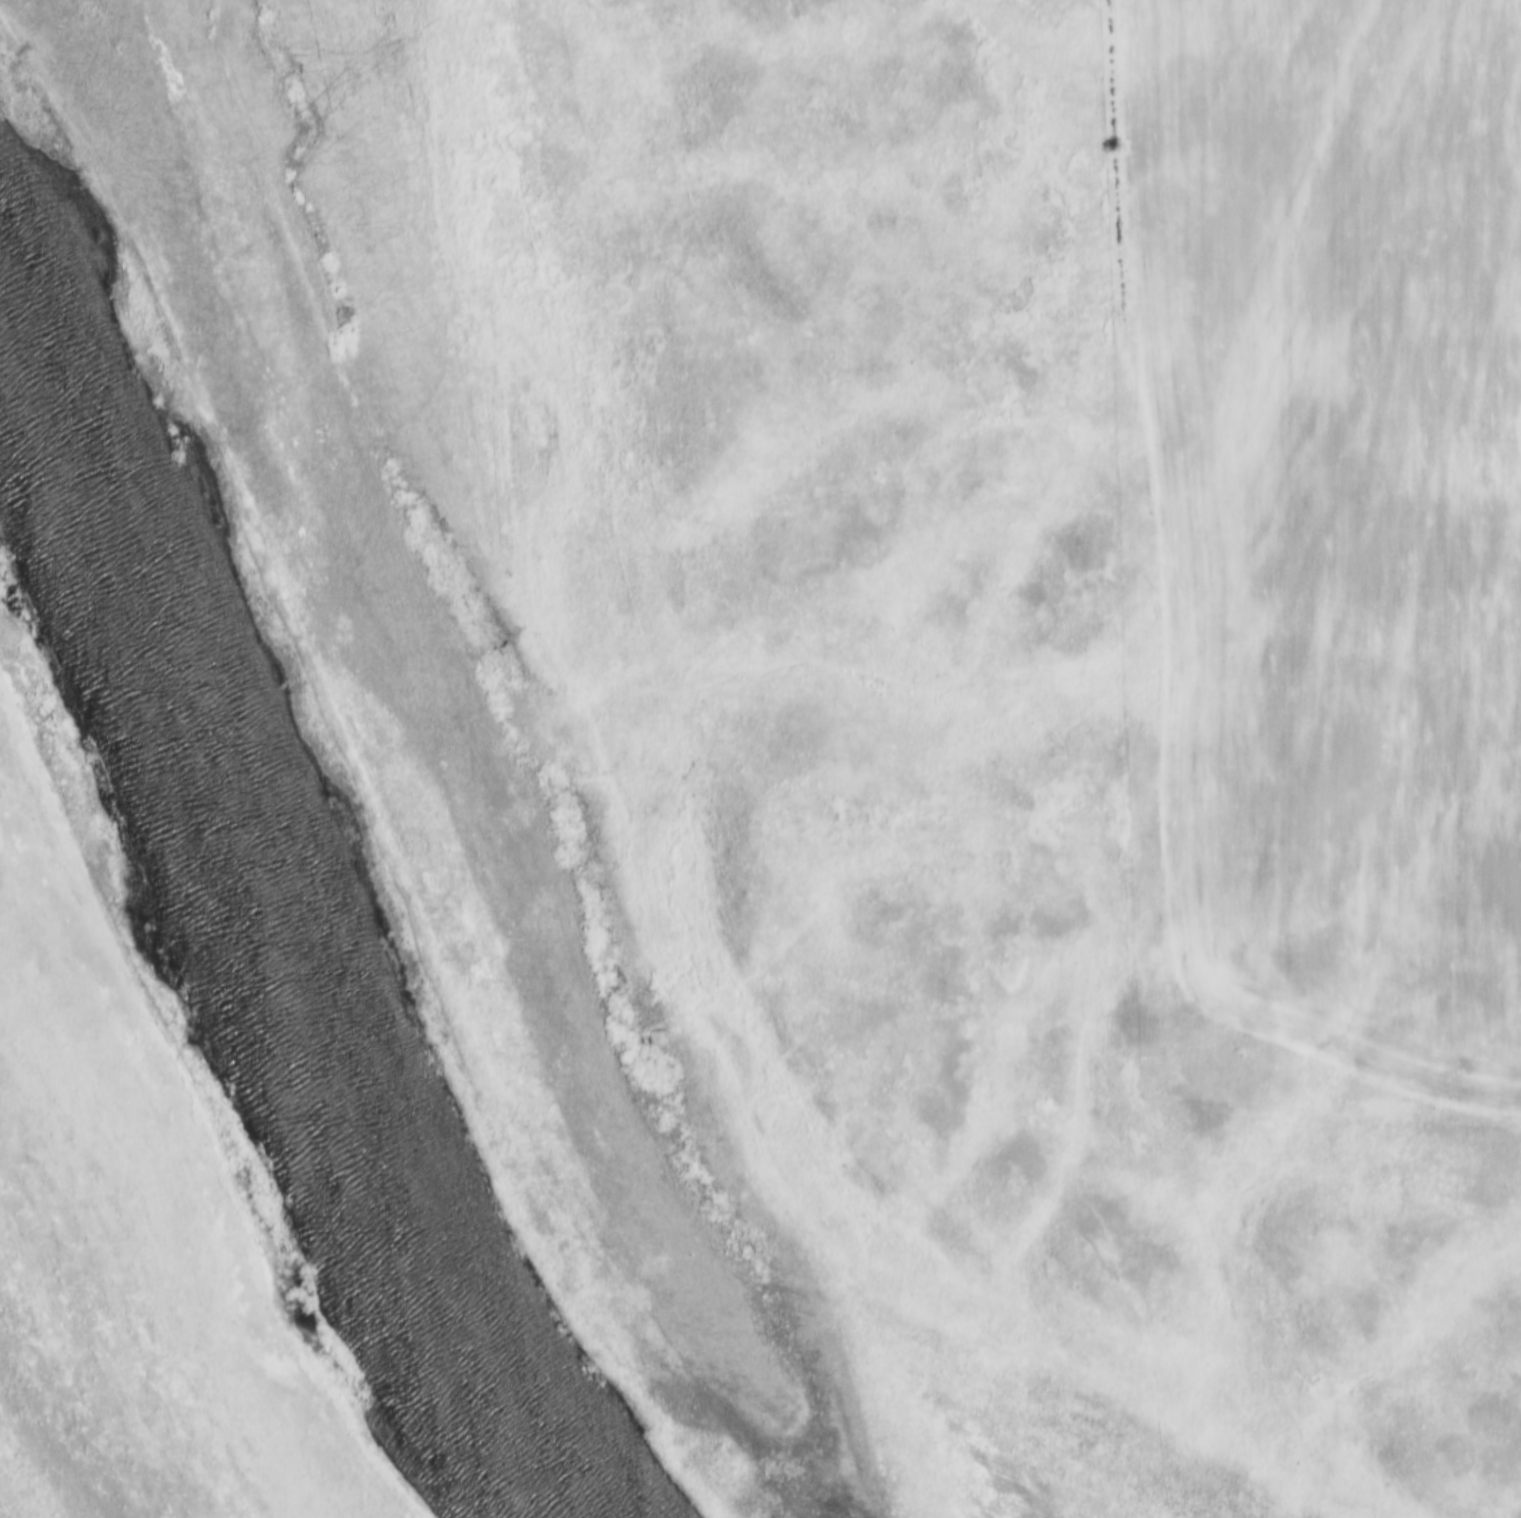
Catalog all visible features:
river: (272, 930)

